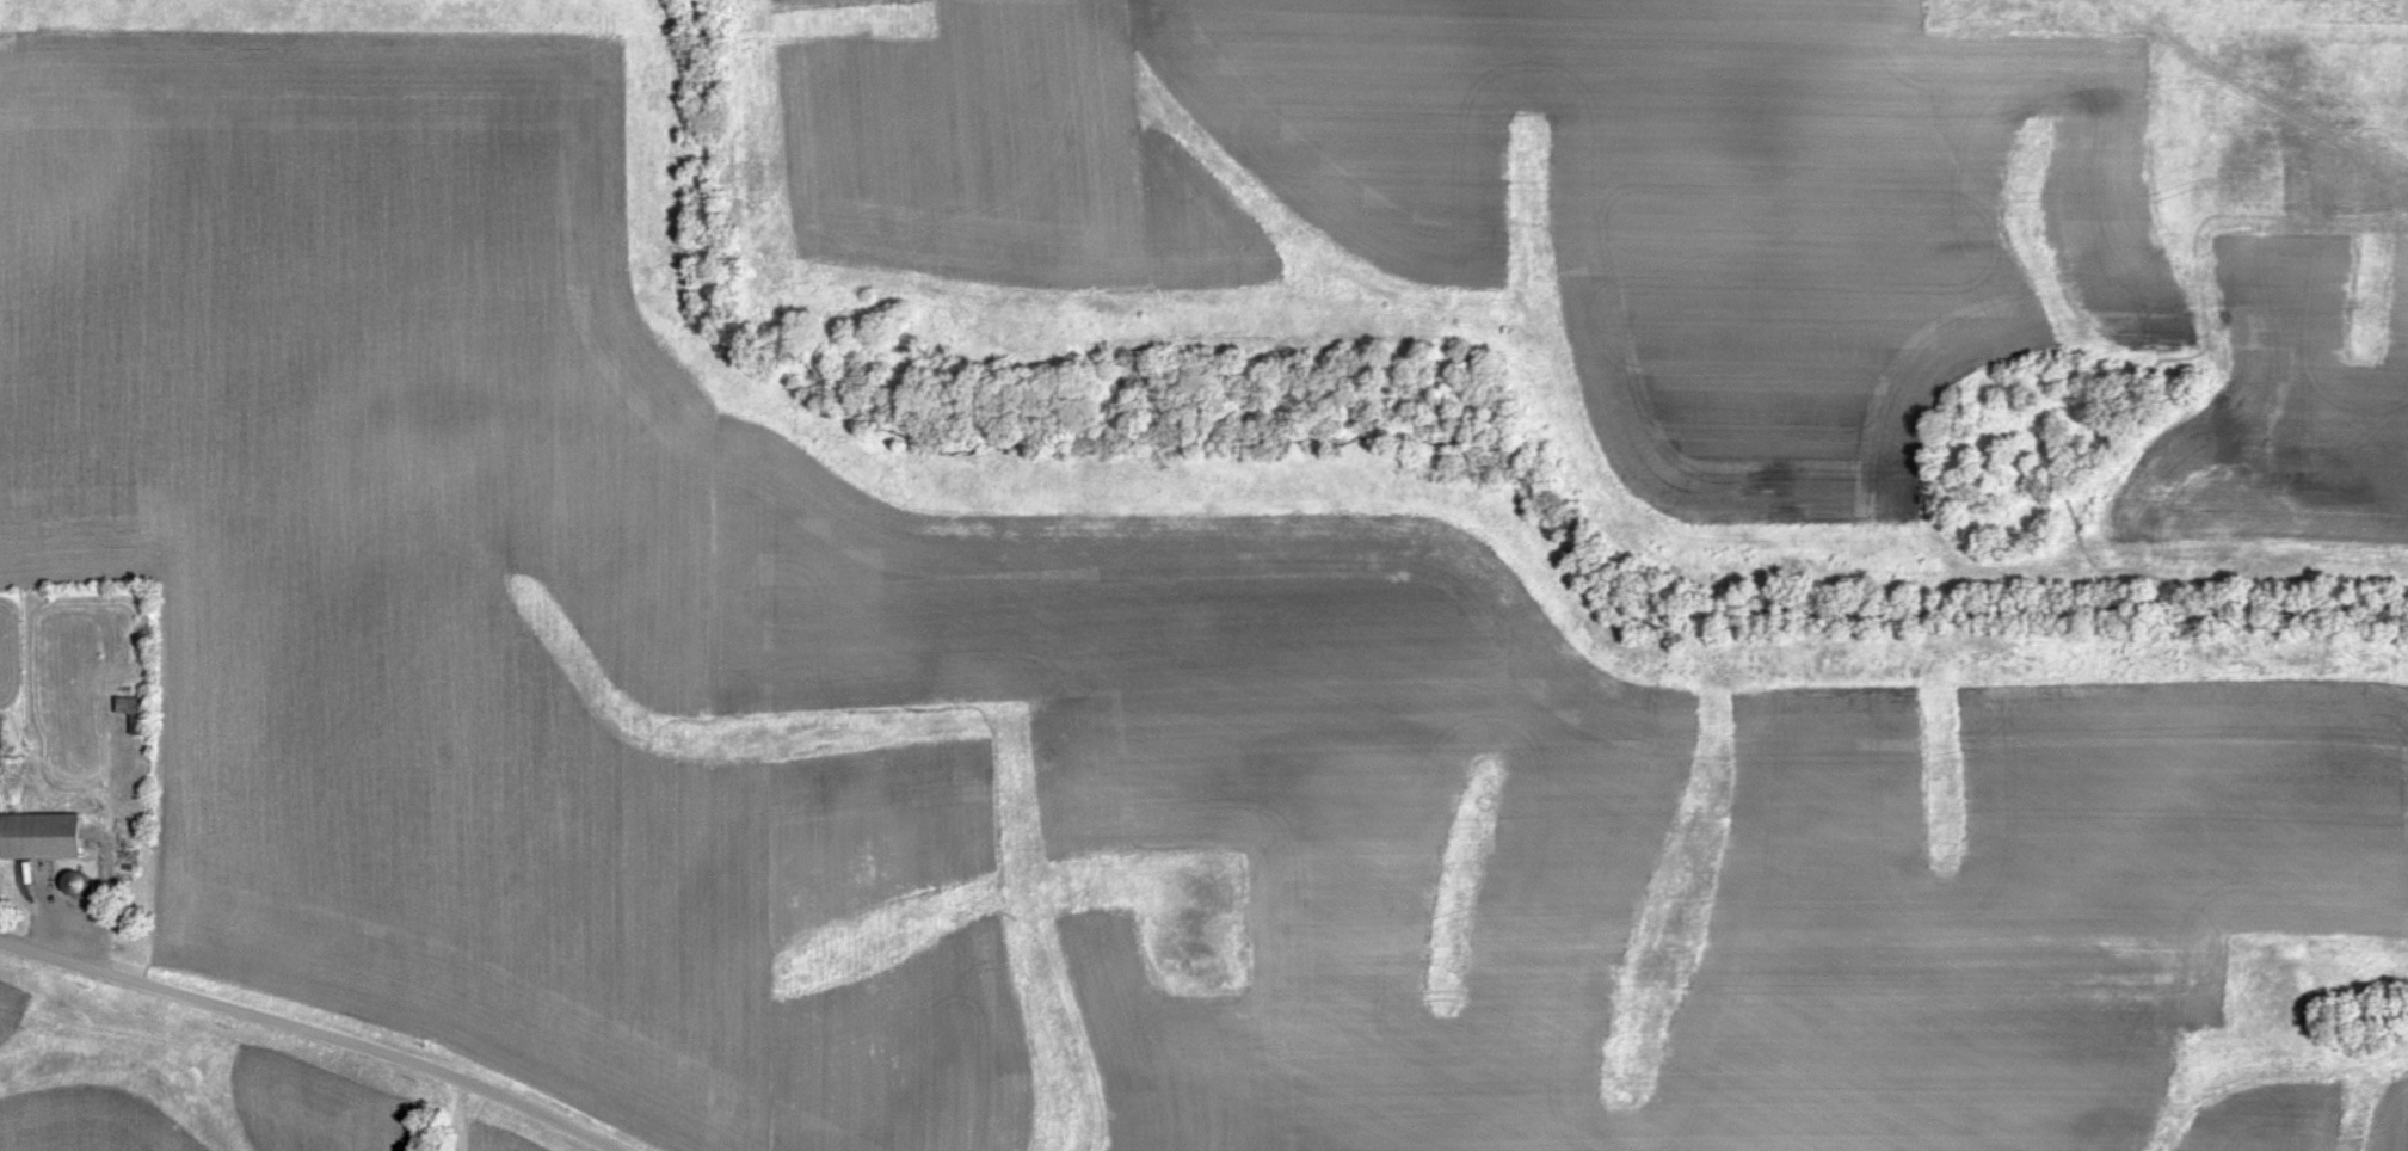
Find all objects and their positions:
road: (17, 696)
road: (312, 1032)

